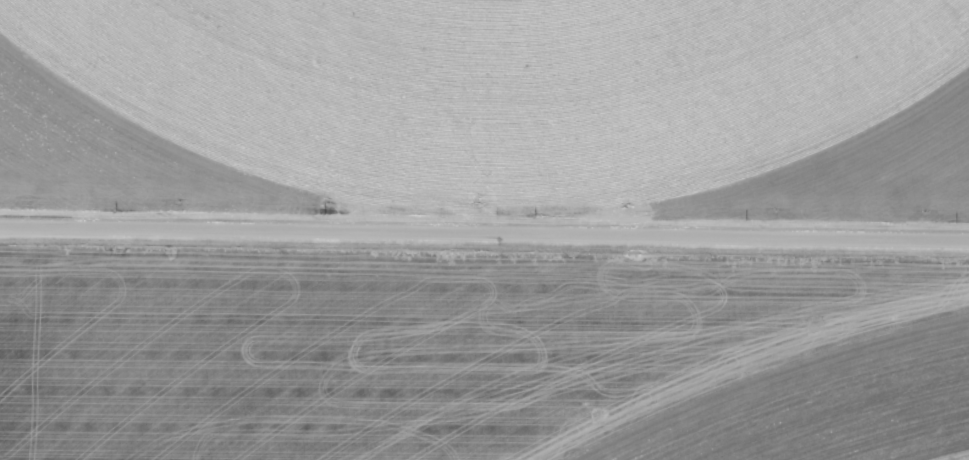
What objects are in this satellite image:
road: (484, 238)

